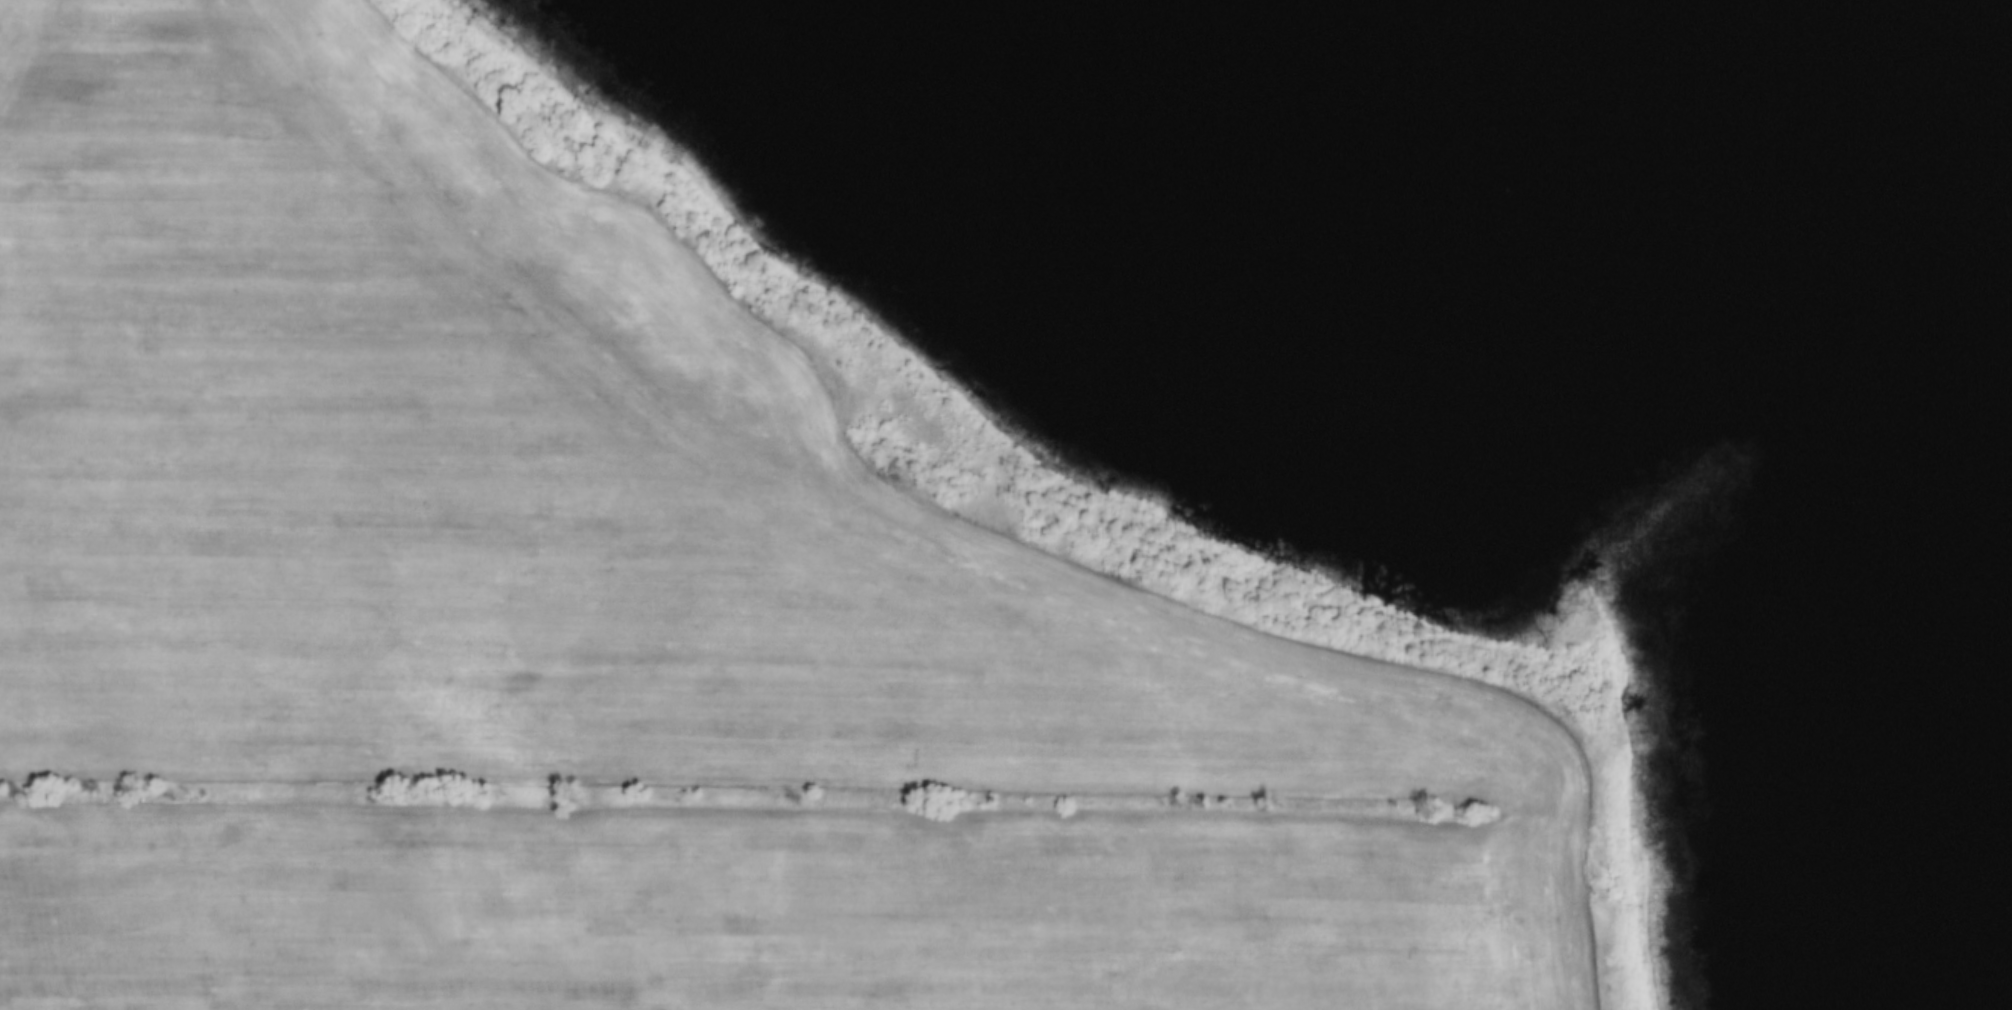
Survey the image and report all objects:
building: (1667, 164)

